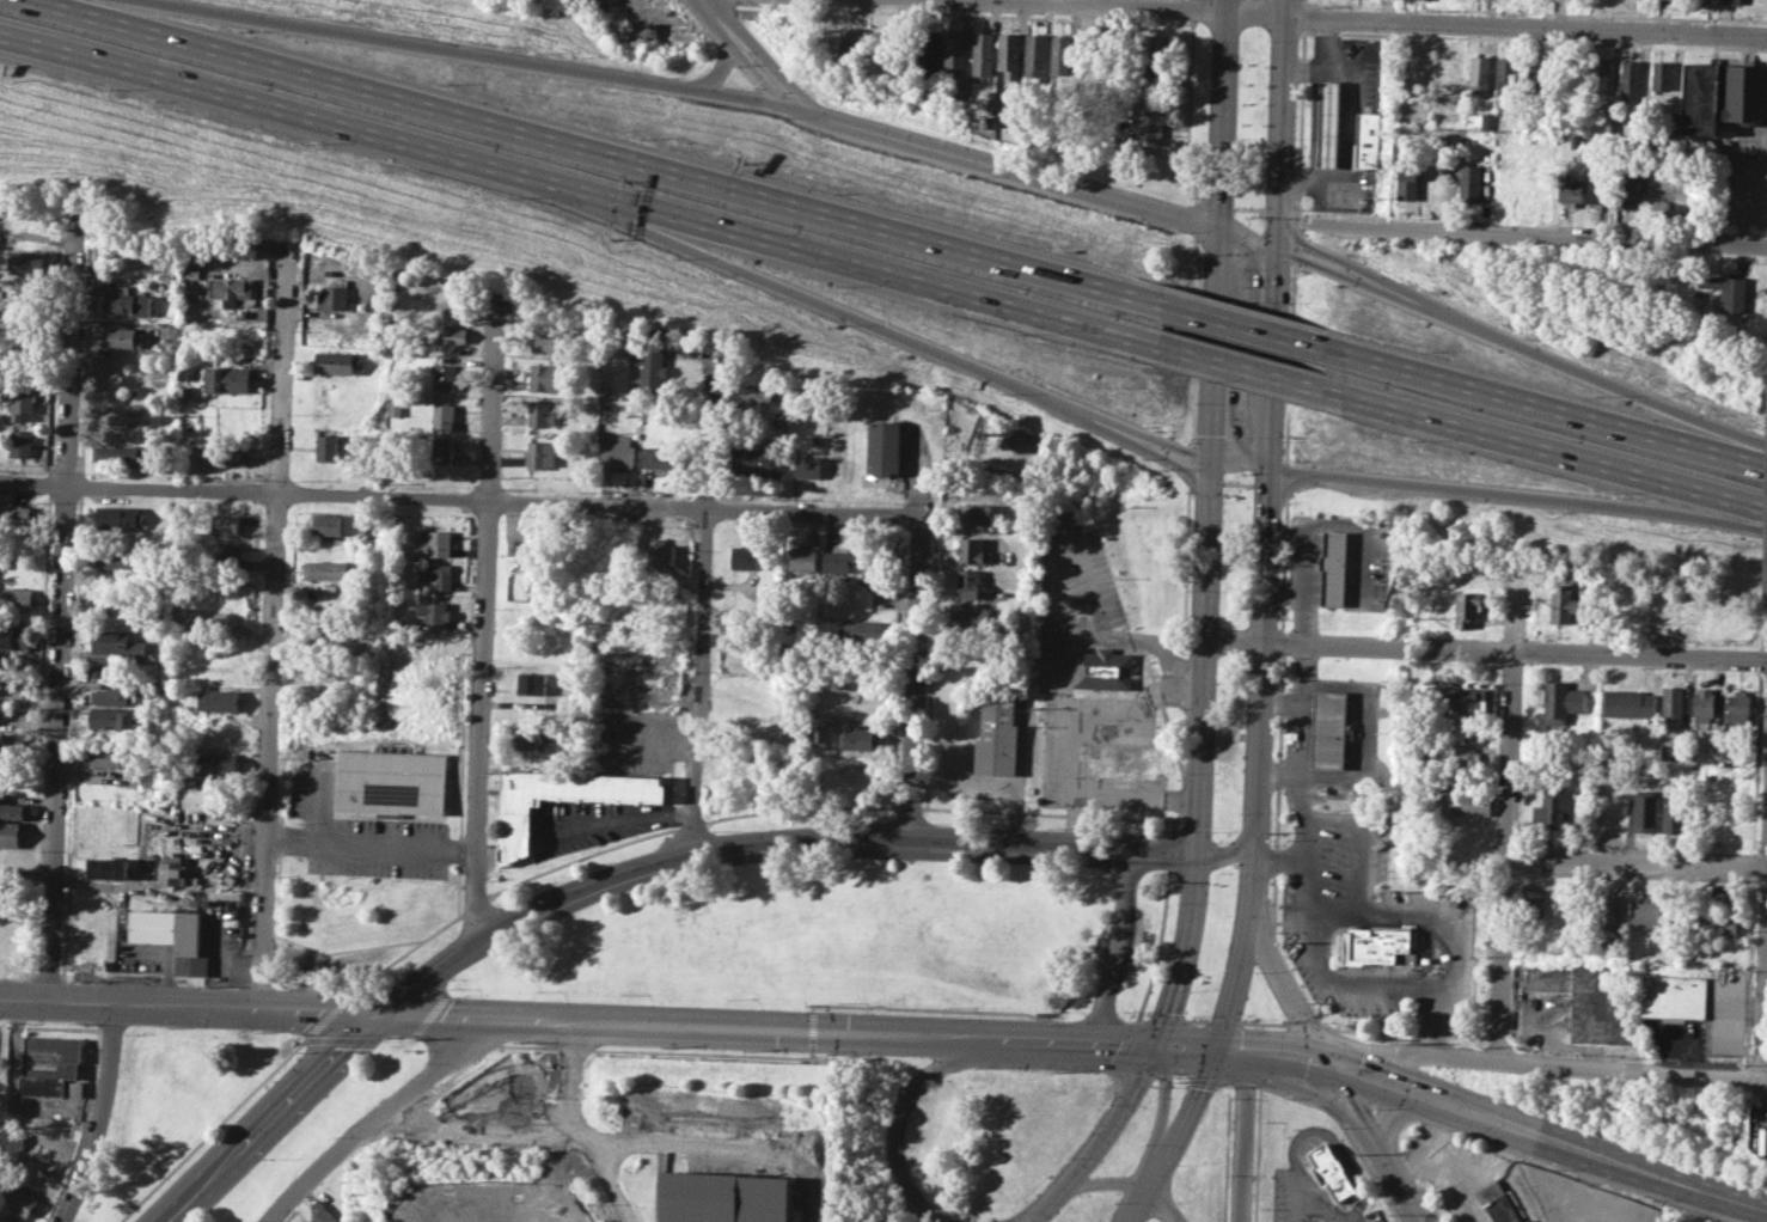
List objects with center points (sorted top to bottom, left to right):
building: (1705, 0)
building: (1665, 1)
building: (1734, 1)
road: (1304, 2)
road: (1192, 8)
road: (715, 16)
road: (1303, 17)
road: (1370, 18)
street lamp: (1309, 35)
street lamp: (1267, 39)
building: (851, 41)
street lamp: (1209, 41)
building: (825, 42)
road: (1326, 43)
building: (1150, 44)
building: (929, 49)
road: (466, 51)
building: (955, 51)
building: (1062, 53)
building: (983, 54)
building: (1035, 56)
building: (1009, 57)
road: (768, 63)
road: (721, 66)
street lamp: (734, 66)
building: (1417, 67)
building: (1480, 72)
building: (1506, 73)
building: (1150, 74)
building: (1663, 74)
road: (756, 75)
building: (1451, 75)
building: (1537, 75)
building: (1598, 77)
building: (1632, 78)
building: (1745, 98)
building: (1150, 104)
road: (1188, 111)
road: (317, 117)
street lamp: (775, 117)
building: (1487, 118)
road: (1300, 121)
parking lot: (1340, 122)
park: (1251, 123)
building: (1328, 123)
gas station: (1328, 123)
building: (1612, 123)
road: (1279, 124)
road: (1345, 126)
building: (1147, 133)
building: (1498, 135)
street lamp: (1296, 136)
street lamp: (1236, 138)
building: (1364, 139)
road: (595, 151)
road: (1007, 167)
parking lot: (1743, 176)
street lamp: (964, 177)
building: (1408, 179)
building: (1504, 179)
building: (1471, 182)
building: (1569, 188)
building: (1598, 188)
building: (1630, 189)
street lamp: (1202, 191)
road: (1197, 197)
road: (1216, 203)
road: (1248, 208)
road: (1278, 210)
road: (1296, 212)
street lamp: (1260, 219)
road: (1196, 220)
road: (1300, 220)
road: (1218, 227)
traffic signals: (1218, 230)
road: (1301, 230)
street lamp: (1170, 232)
road: (1521, 233)
road: (1297, 238)
road: (1246, 239)
road: (1294, 246)
traffic signals: (1274, 249)
road: (1292, 256)
road: (1332, 257)
building: (30, 263)
street lamp: (1242, 268)
road: (1332, 269)
building: (189, 273)
road: (897, 275)
street lamp: (1240, 286)
building: (228, 288)
building: (1730, 292)
building: (334, 297)
building: (124, 299)
street lamp: (1289, 301)
road: (857, 318)
road: (1254, 328)
building: (448, 335)
building: (123, 337)
road: (1197, 341)
building: (549, 342)
road: (1271, 359)
building: (335, 361)
road: (1289, 362)
building: (652, 366)
road: (1570, 368)
road: (1249, 369)
building: (444, 377)
building: (546, 377)
building: (225, 379)
building: (183, 392)
building: (754, 393)
building: (22, 401)
street lamp: (1193, 402)
road: (1543, 404)
building: (395, 407)
building: (441, 413)
building: (542, 413)
road: (1149, 435)
building: (22, 442)
street lamp: (1289, 442)
building: (885, 446)
building: (326, 447)
building: (442, 450)
building: (618, 450)
road: (1148, 450)
road: (1192, 452)
building: (123, 453)
building: (542, 453)
road: (1554, 453)
building: (224, 456)
traffic signals: (1209, 456)
building: (660, 457)
building: (757, 458)
road: (1755, 459)
road: (1192, 463)
building: (807, 466)
road: (1207, 470)
traffic signals: (1268, 470)
street lamp: (1251, 475)
road: (1190, 476)
road: (1285, 479)
road: (921, 485)
road: (1487, 491)
road: (459, 499)
street lamp: (1223, 501)
building: (16, 513)
building: (976, 513)
building: (120, 517)
building: (221, 523)
building: (328, 524)
building: (435, 543)
street lamp: (1280, 544)
building: (221, 549)
building: (970, 551)
building: (530, 552)
building: (659, 555)
building: (745, 556)
building: (115, 561)
building: (803, 563)
building: (838, 564)
road: (1283, 564)
building: (874, 566)
building: (1333, 567)
building: (325, 569)
building: (434, 576)
building: (224, 579)
road: (1087, 581)
building: (971, 586)
road: (1766, 586)
street lamp: (1188, 589)
building: (14, 598)
building: (1565, 603)
road: (702, 604)
building: (1466, 606)
building: (434, 612)
building: (973, 618)
street lamp: (1247, 618)
road: (273, 625)
road: (60, 628)
road: (484, 630)
building: (863, 630)
building: (16, 636)
road: (1763, 641)
road: (1282, 642)
building: (112, 646)
road: (1155, 646)
road: (1260, 650)
road: (1484, 652)
street lamp: (1289, 658)
parking lot: (1054, 668)
building: (1103, 668)
road: (1205, 668)
road: (1172, 674)
road: (913, 680)
building: (533, 683)
street lamp: (1217, 683)
building: (153, 688)
building: (14, 689)
road: (1060, 695)
building: (114, 696)
building: (219, 698)
building: (1468, 698)
building: (1560, 701)
road: (1280, 702)
building: (1628, 703)
building: (1704, 704)
building: (1673, 705)
building: (1737, 709)
building: (111, 717)
street lamp: (1274, 717)
building: (1460, 728)
building: (1329, 729)
gas station: (1329, 729)
road: (1363, 732)
building: (530, 734)
building: (996, 735)
building: (861, 738)
parking lot: (635, 740)
road: (656, 741)
building: (12, 743)
building: (1671, 751)
building: (109, 757)
building: (1463, 758)
building: (216, 762)
road: (1278, 771)
street lamp: (1180, 772)
road: (1298, 776)
building: (391, 780)
road: (1101, 792)
building: (1467, 801)
road: (909, 806)
building: (1551, 807)
road: (320, 808)
road: (800, 808)
building: (13, 809)
building: (1645, 809)
street lamp: (1237, 812)
road: (1053, 813)
building: (1674, 813)
building: (1730, 813)
road: (1074, 817)
road: (610, 819)
building: (515, 820)
road: (1506, 820)
parking lot: (598, 824)
road: (690, 825)
parking lot: (361, 830)
street lamp: (1211, 831)
traffic signals: (1257, 832)
street lamp: (1271, 832)
building: (10, 833)
road: (1276, 842)
road: (372, 844)
road: (730, 849)
park: (1224, 849)
road: (1229, 849)
road: (1170, 850)
road: (1162, 851)
traffic signals: (1198, 854)
road: (580, 857)
road: (1637, 864)
building: (106, 868)
building: (171, 870)
road: (1254, 876)
street lamp: (1172, 881)
road: (1125, 885)
building: (1719, 893)
building: (1531, 902)
road: (475, 904)
street lamp: (1267, 904)
building: (1650, 910)
building: (1606, 911)
building: (1720, 923)
building: (170, 935)
road: (1102, 935)
road: (1137, 935)
building: (1377, 945)
road: (1157, 946)
road: (1448, 947)
road: (406, 951)
road: (1184, 952)
building: (1716, 952)
road: (1137, 955)
road: (1114, 960)
street lamp: (1136, 961)
street lamp: (1255, 972)
road: (1108, 982)
road: (1283, 983)
road: (1234, 985)
street lamp: (452, 988)
street lamp: (538, 990)
street lamp: (1190, 990)
street lamp: (622, 994)
building: (1675, 996)
street lamp: (729, 997)
building: (1594, 1000)
street lamp: (1310, 1001)
street lamp: (839, 1002)
road: (1765, 1002)
road: (109, 1004)
street lamp: (947, 1007)
road: (967, 1009)
street lamp: (1054, 1010)
street lamp: (1127, 1010)
road: (298, 1012)
street lamp: (1131, 1014)
road: (328, 1015)
street lamp: (1193, 1015)
traffic signals: (377, 1016)
road: (1433, 1016)
street lamp: (1243, 1019)
road: (471, 1020)
road: (1164, 1020)
street lamp: (1282, 1020)
road: (1197, 1021)
road: (1222, 1021)
road: (1262, 1022)
road: (1302, 1022)
street lamp: (172, 1027)
road: (811, 1028)
road: (779, 1029)
road: (1393, 1031)
street lamp: (270, 1032)
street lamp: (126, 1033)
street lamp: (386, 1039)
road: (1041, 1040)
road: (1264, 1040)
road: (1121, 1044)
traffic signals: (1314, 1045)
traffic signals: (1152, 1046)
road: (1184, 1047)
traffic signals: (1215, 1049)
street lamp: (299, 1051)
road: (820, 1057)
road: (567, 1059)
road: (1230, 1061)
street lamp: (424, 1062)
building: (47, 1064)
road: (1564, 1065)
road: (1265, 1069)
traffic signals: (1332, 1075)
street lamp: (1178, 1076)
road: (1334, 1080)
street lamp: (1186, 1083)
street lamp: (901, 1084)
street lamp: (1152, 1084)
street lamp: (1228, 1086)
road: (1319, 1094)
road: (1124, 1095)
street lamp: (1284, 1098)
street lamp: (1233, 1099)
street lamp: (1108, 1102)
road: (1490, 1106)
road: (1163, 1107)
road: (1191, 1113)
road: (899, 1114)
road: (102, 1116)
road: (381, 1117)
road: (269, 1119)
road: (1387, 1123)
road: (1472, 1124)
street lamp: (1340, 1126)
road: (212, 1129)
road: (404, 1129)
street lamp: (1296, 1129)
road: (1321, 1129)
street lamp: (336, 1136)
road: (653, 1139)
street lamp: (1144, 1143)
road: (1245, 1144)
street lamp: (104, 1145)
street lamp: (1066, 1156)
street lamp: (264, 1159)
road: (597, 1159)
street lamp: (1178, 1163)
road: (1389, 1169)
building: (1329, 1172)
street lamp: (1099, 1175)
street lamp: (1230, 1175)
road: (1068, 1183)
road: (1102, 1183)
road: (1154, 1183)
road: (1056, 1185)
road: (1714, 1196)
building: (723, 1197)
road: (1319, 1198)
street lamp: (899, 1199)
building: (20, 1200)
street lamp: (1115, 1202)
street lamp: (1388, 1202)
building: (1497, 1202)
road: (1139, 1206)
road: (1161, 1206)
street lamp: (1016, 1211)
building: (325, 1216)
street lamp: (1307, 1216)
building: (8, 1217)
street lamp: (252, 1220)
building: (1528, 1220)
road: (1419, 1221)

